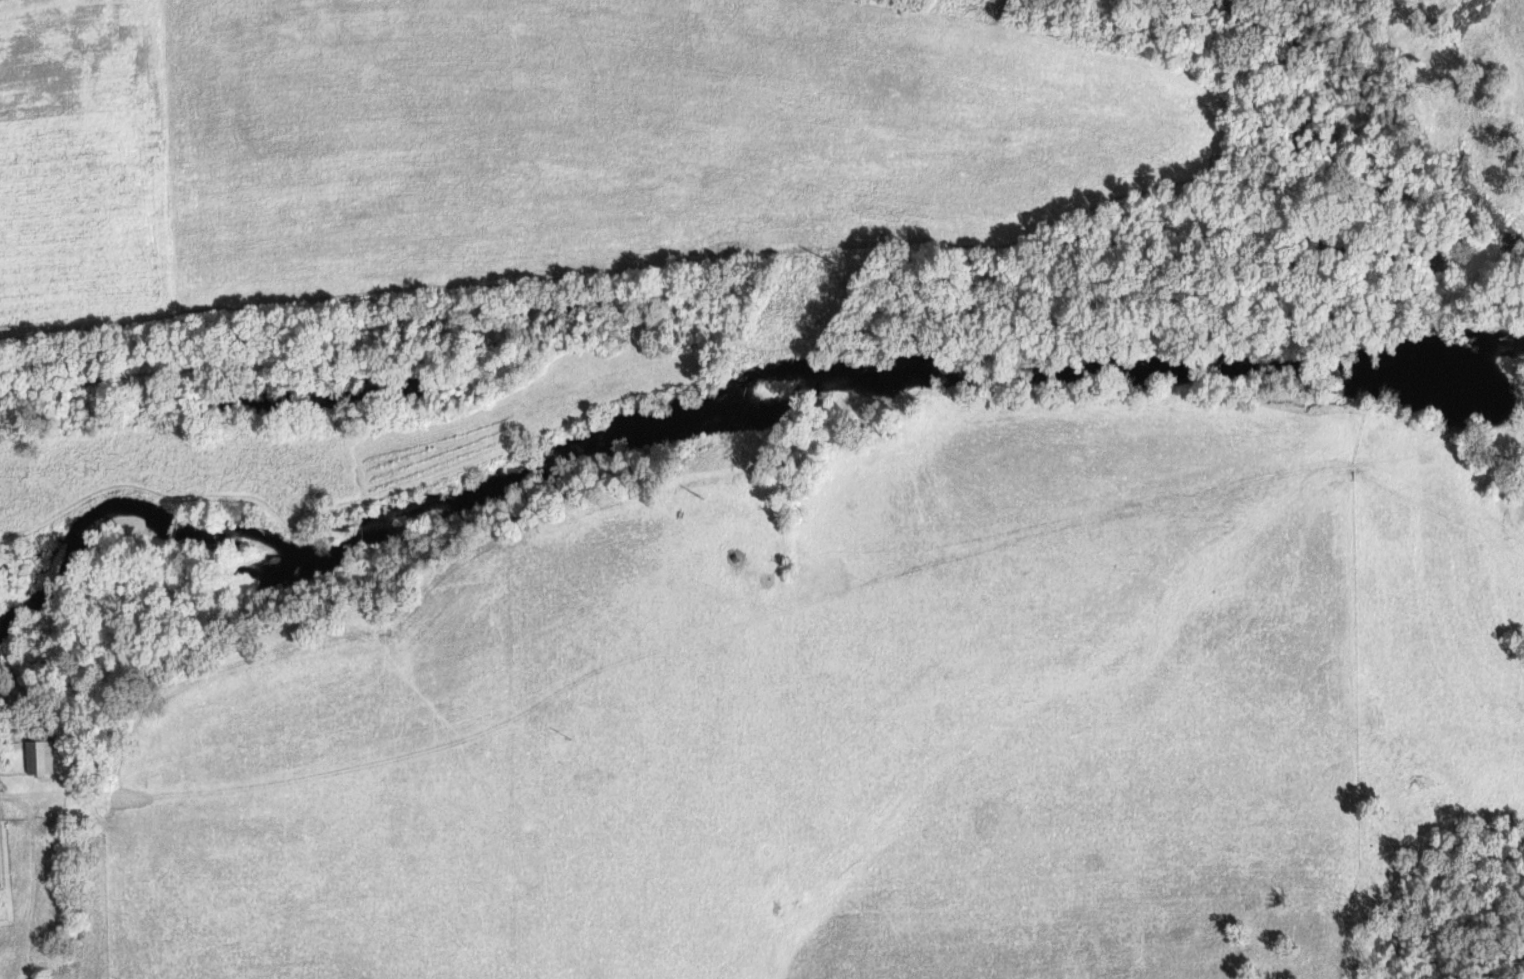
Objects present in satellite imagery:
building: (36, 757)
road: (28, 791)

